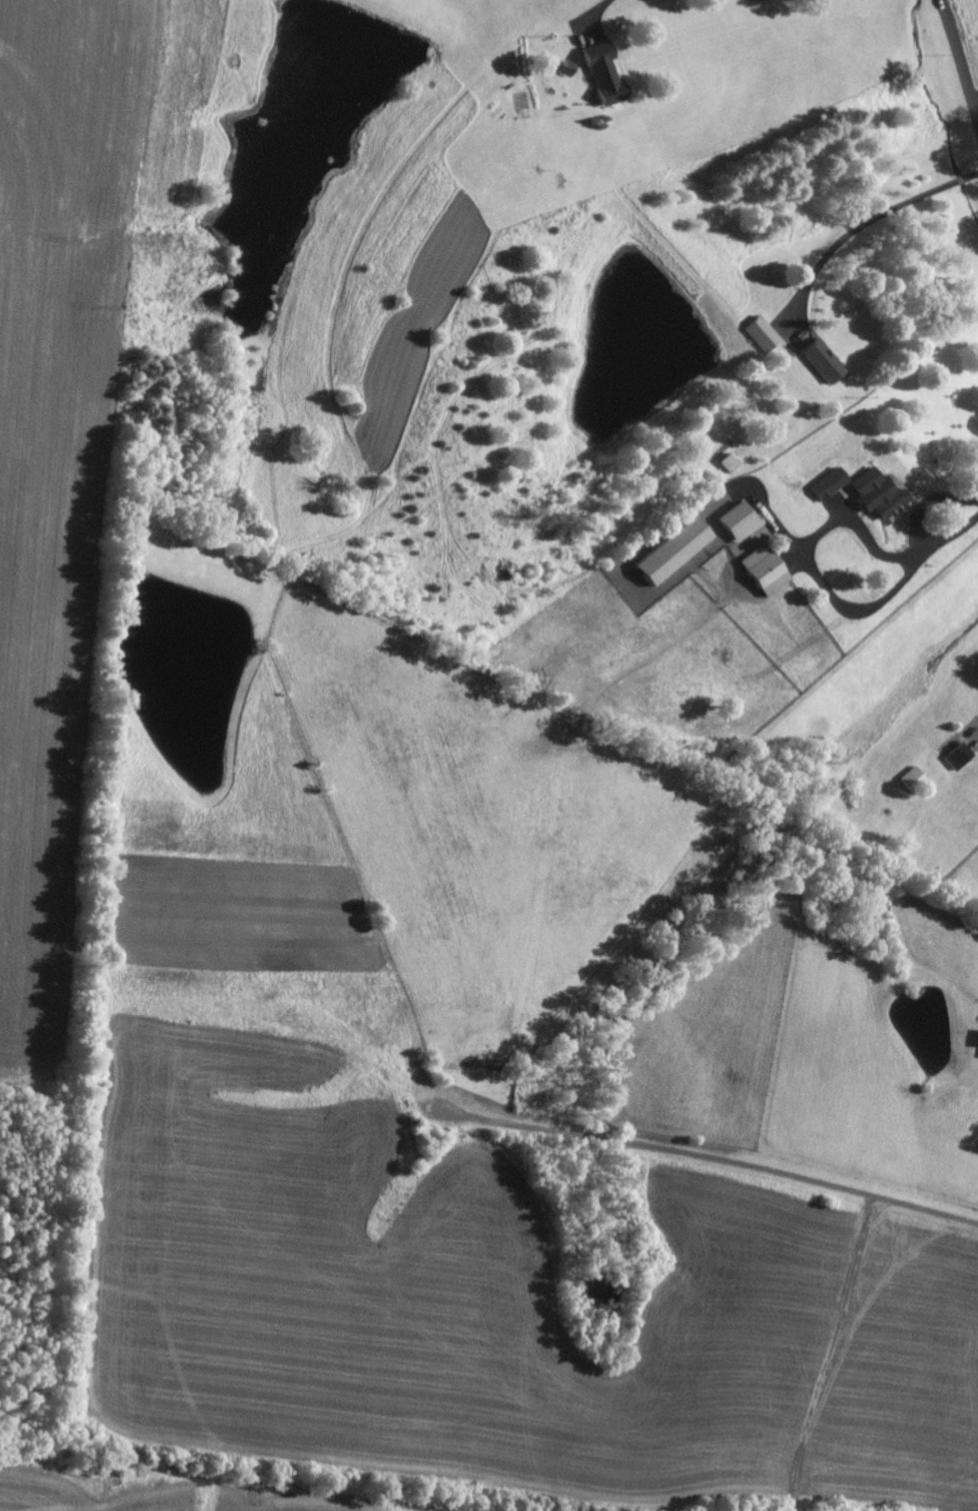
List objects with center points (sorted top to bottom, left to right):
road: (761, 0)
road: (601, 12)
road: (960, 57)
building: (601, 74)
road: (975, 99)
road: (869, 224)
building: (758, 333)
building: (817, 359)
building: (727, 462)
building: (824, 483)
building: (873, 493)
building: (733, 521)
road: (947, 539)
road: (647, 543)
building: (666, 550)
road: (811, 569)
building: (758, 571)
building: (957, 755)
building: (976, 1038)

